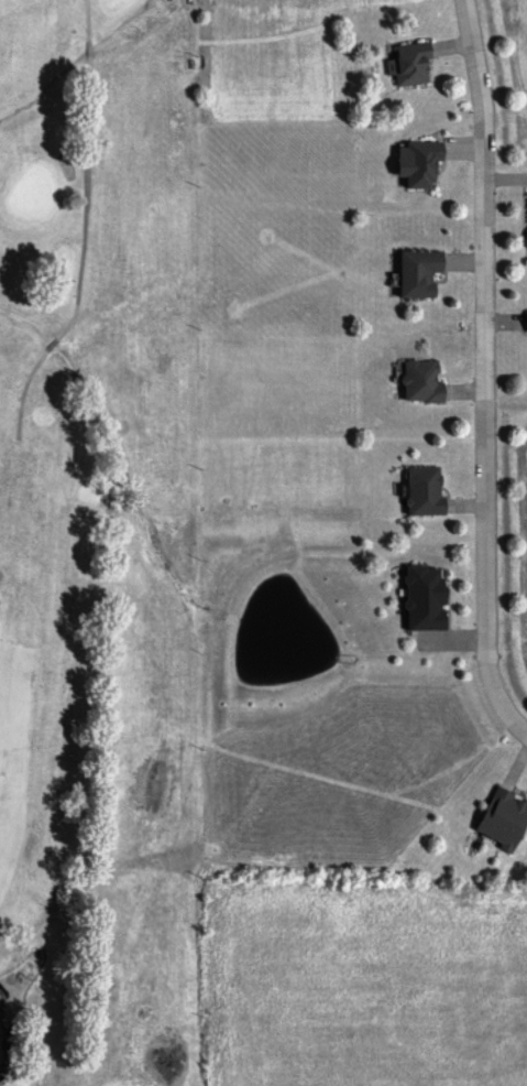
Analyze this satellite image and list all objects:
building: (413, 64)
building: (424, 273)
road: (484, 373)
building: (427, 381)
building: (429, 491)
park: (102, 547)
building: (430, 598)
building: (506, 819)

